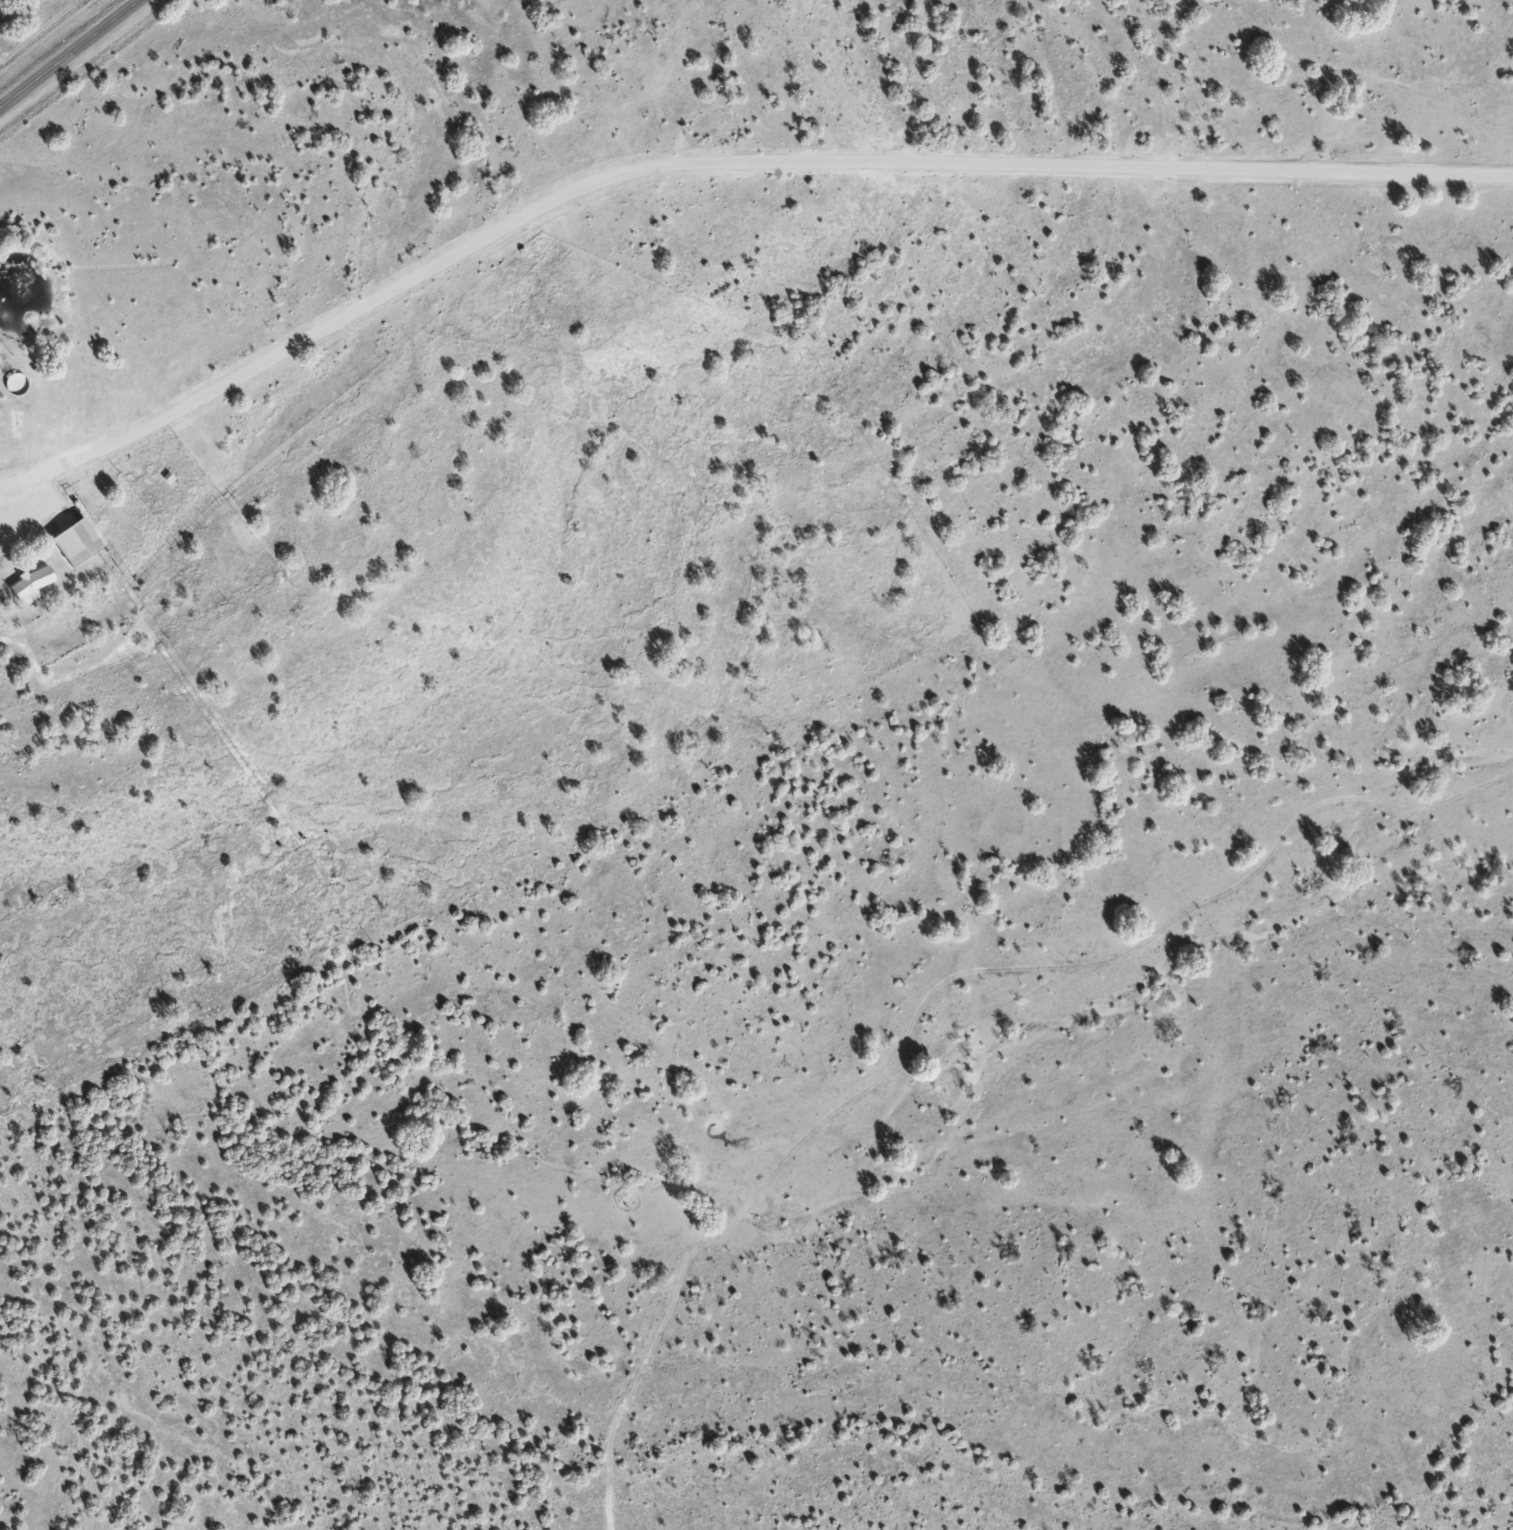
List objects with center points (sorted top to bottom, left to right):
road: (72, 56)
road: (715, 158)
building: (74, 541)
building: (29, 583)

